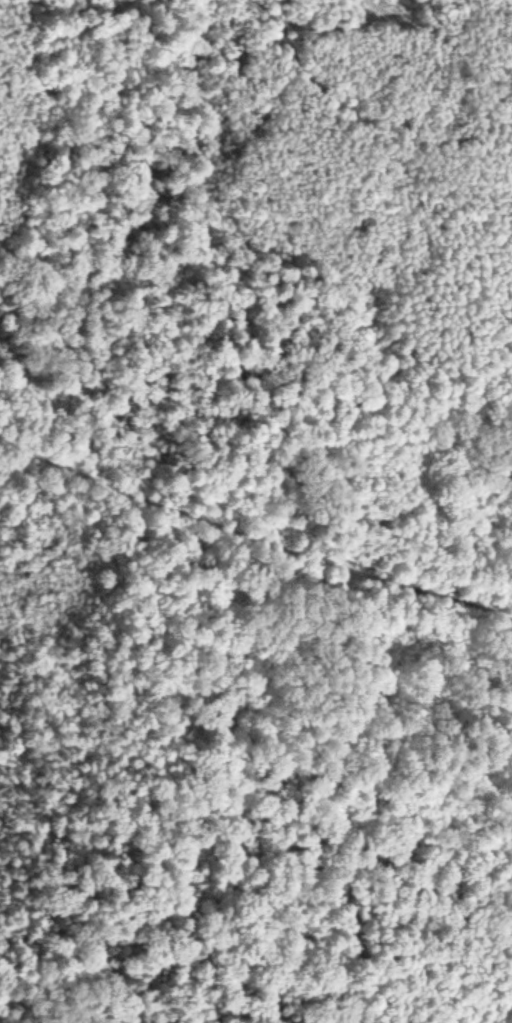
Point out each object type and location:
road: (82, 229)
road: (290, 548)

